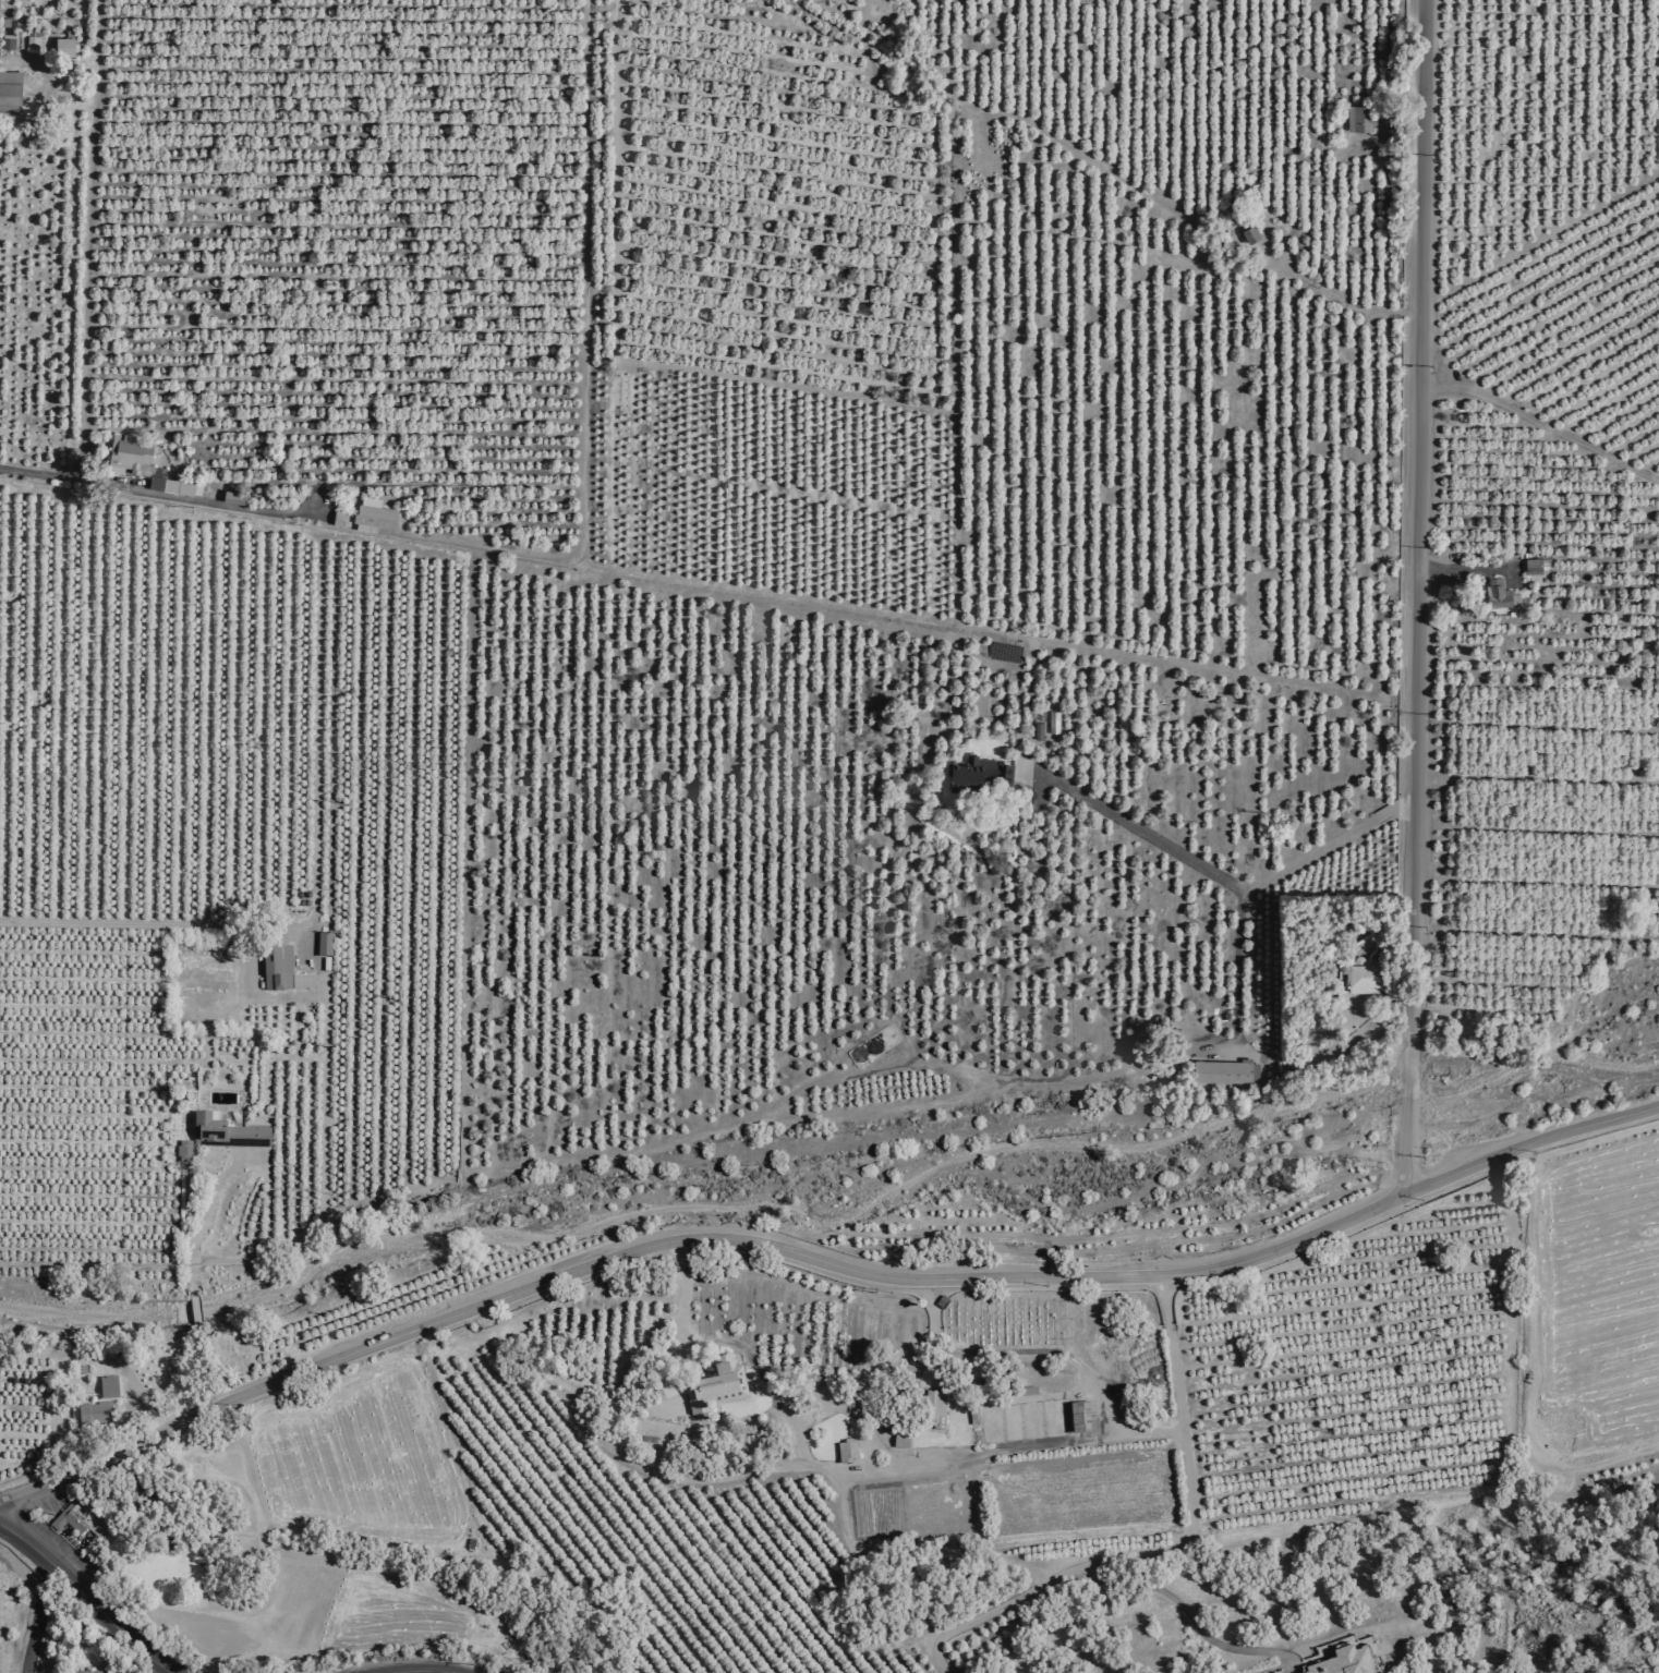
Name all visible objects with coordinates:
building: (35, 20)
building: (65, 32)
building: (28, 39)
building: (61, 41)
building: (5, 43)
building: (9, 92)
building: (1360, 118)
building: (1250, 233)
road: (1542, 235)
road: (87, 240)
road: (1346, 301)
road: (1542, 426)
building: (175, 485)
road: (161, 495)
building: (234, 497)
road: (581, 505)
building: (374, 512)
building: (339, 518)
building: (1529, 566)
road: (1472, 567)
road: (1416, 594)
building: (1497, 594)
road: (1223, 671)
building: (1050, 722)
building: (1033, 730)
building: (973, 773)
road: (1204, 870)
road: (123, 922)
building: (323, 945)
building: (281, 970)
road: (1234, 971)
building: (1361, 975)
building: (1219, 1070)
building: (226, 1133)
building: (183, 1151)
road: (819, 1254)
road: (190, 1264)
road: (683, 1292)
road: (1529, 1367)
building: (717, 1386)
building: (107, 1387)
building: (934, 1409)
building: (94, 1416)
building: (1081, 1417)
building: (847, 1452)
building: (76, 1524)
road: (1172, 1550)
road: (87, 1598)
road: (37, 1619)
road: (1221, 1645)
building: (1346, 1662)
road: (429, 1669)
building: (87, 1672)
building: (1298, 1672)

